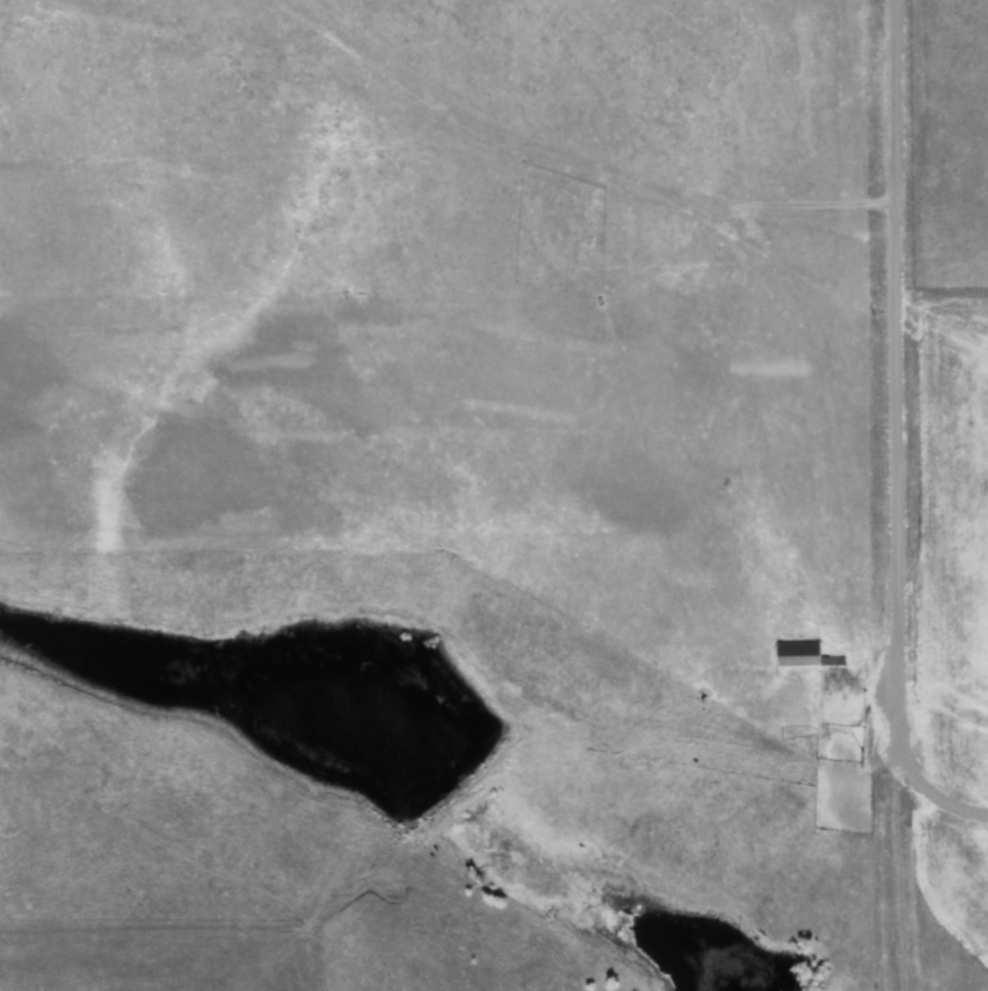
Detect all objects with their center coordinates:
road: (903, 498)
building: (803, 655)

